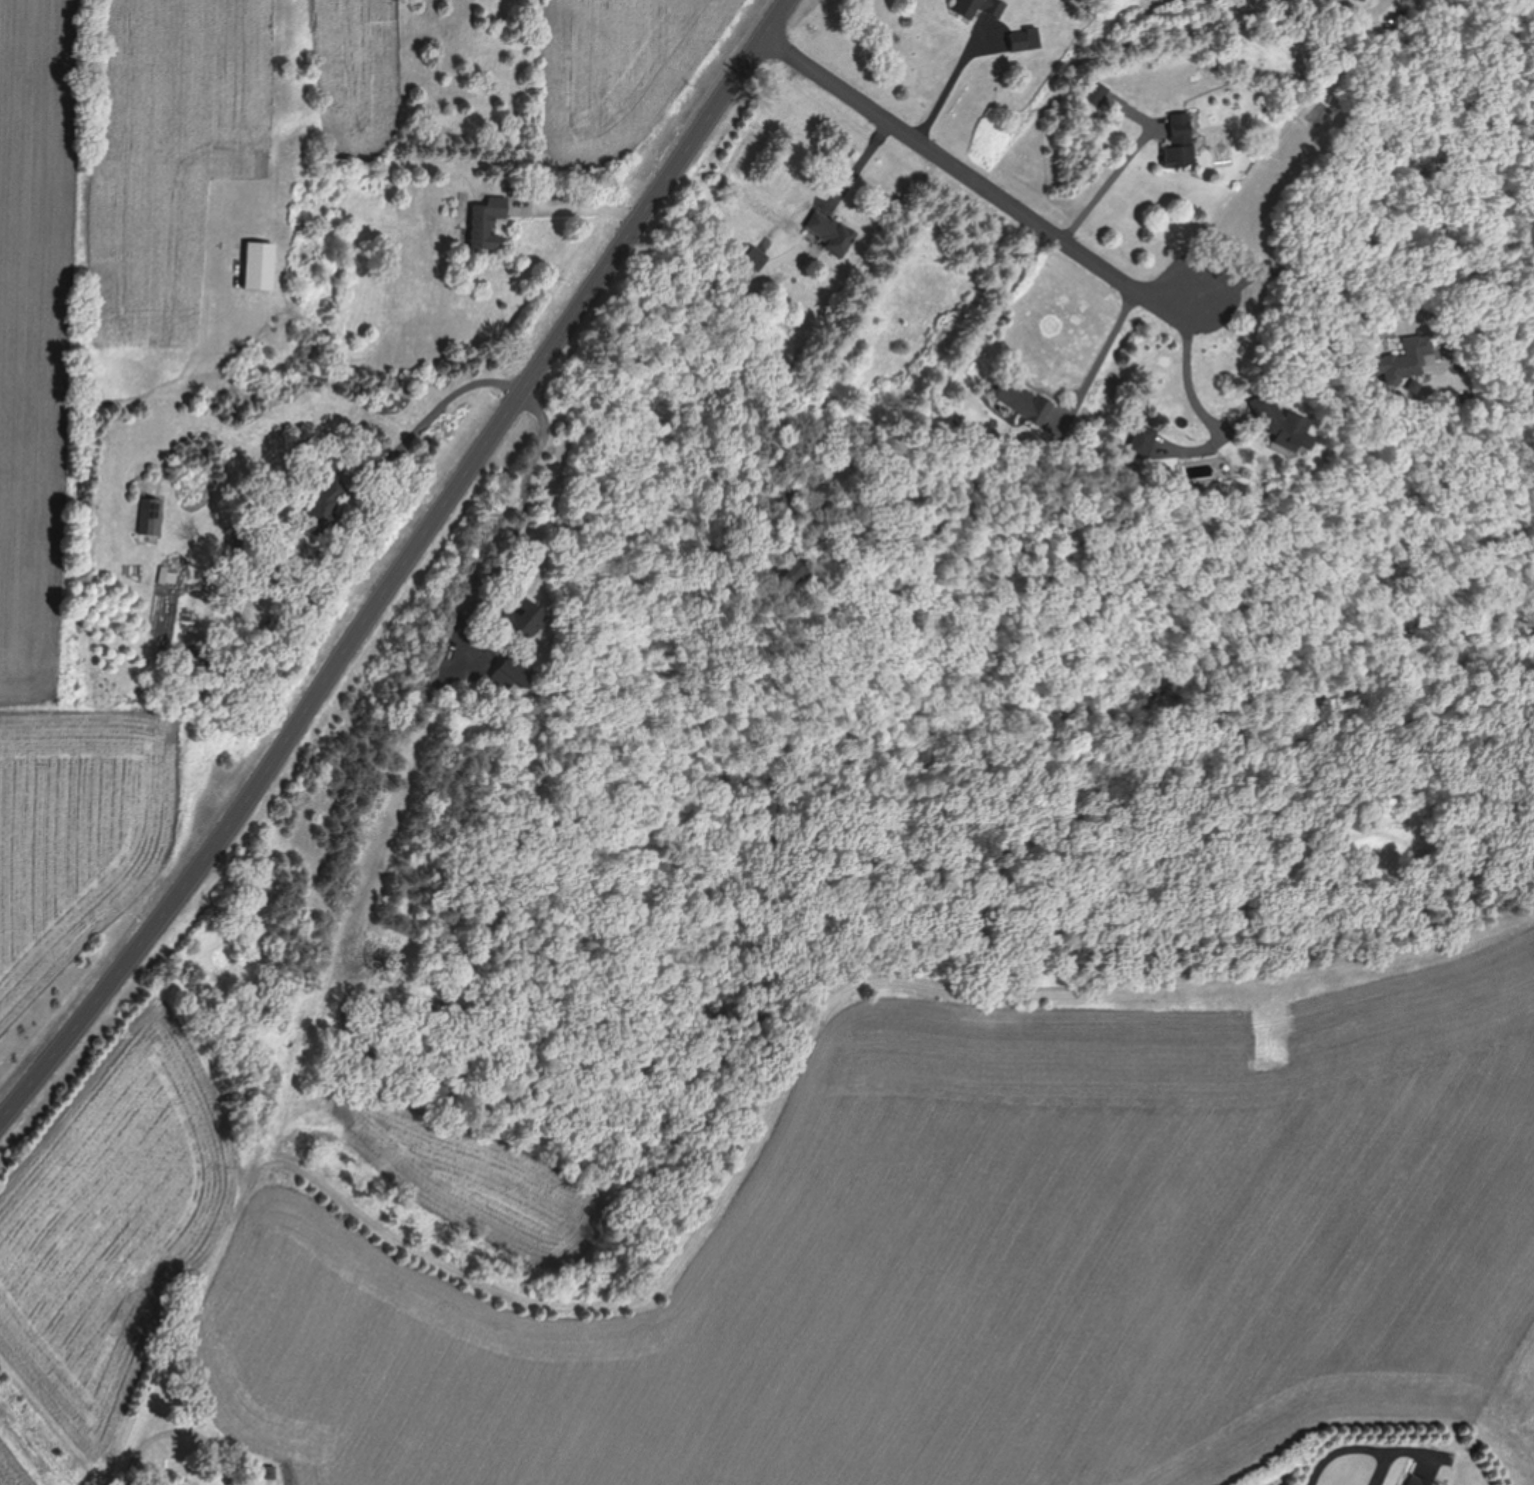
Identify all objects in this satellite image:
building: (979, 8)
building: (1024, 40)
road: (957, 76)
building: (1094, 94)
building: (1180, 143)
road: (858, 166)
road: (974, 179)
road: (1109, 182)
road: (571, 207)
building: (483, 225)
building: (829, 233)
building: (259, 267)
road: (1268, 272)
building: (1405, 361)
road: (1097, 365)
road: (1189, 374)
road: (504, 386)
road: (945, 389)
building: (1021, 401)
building: (1284, 429)
building: (1139, 443)
building: (149, 518)
road: (401, 567)
building: (523, 620)
building: (510, 679)
road: (1385, 1449)
road: (1337, 1451)
building: (279, 1473)
road: (108, 1476)
building: (1417, 1481)

